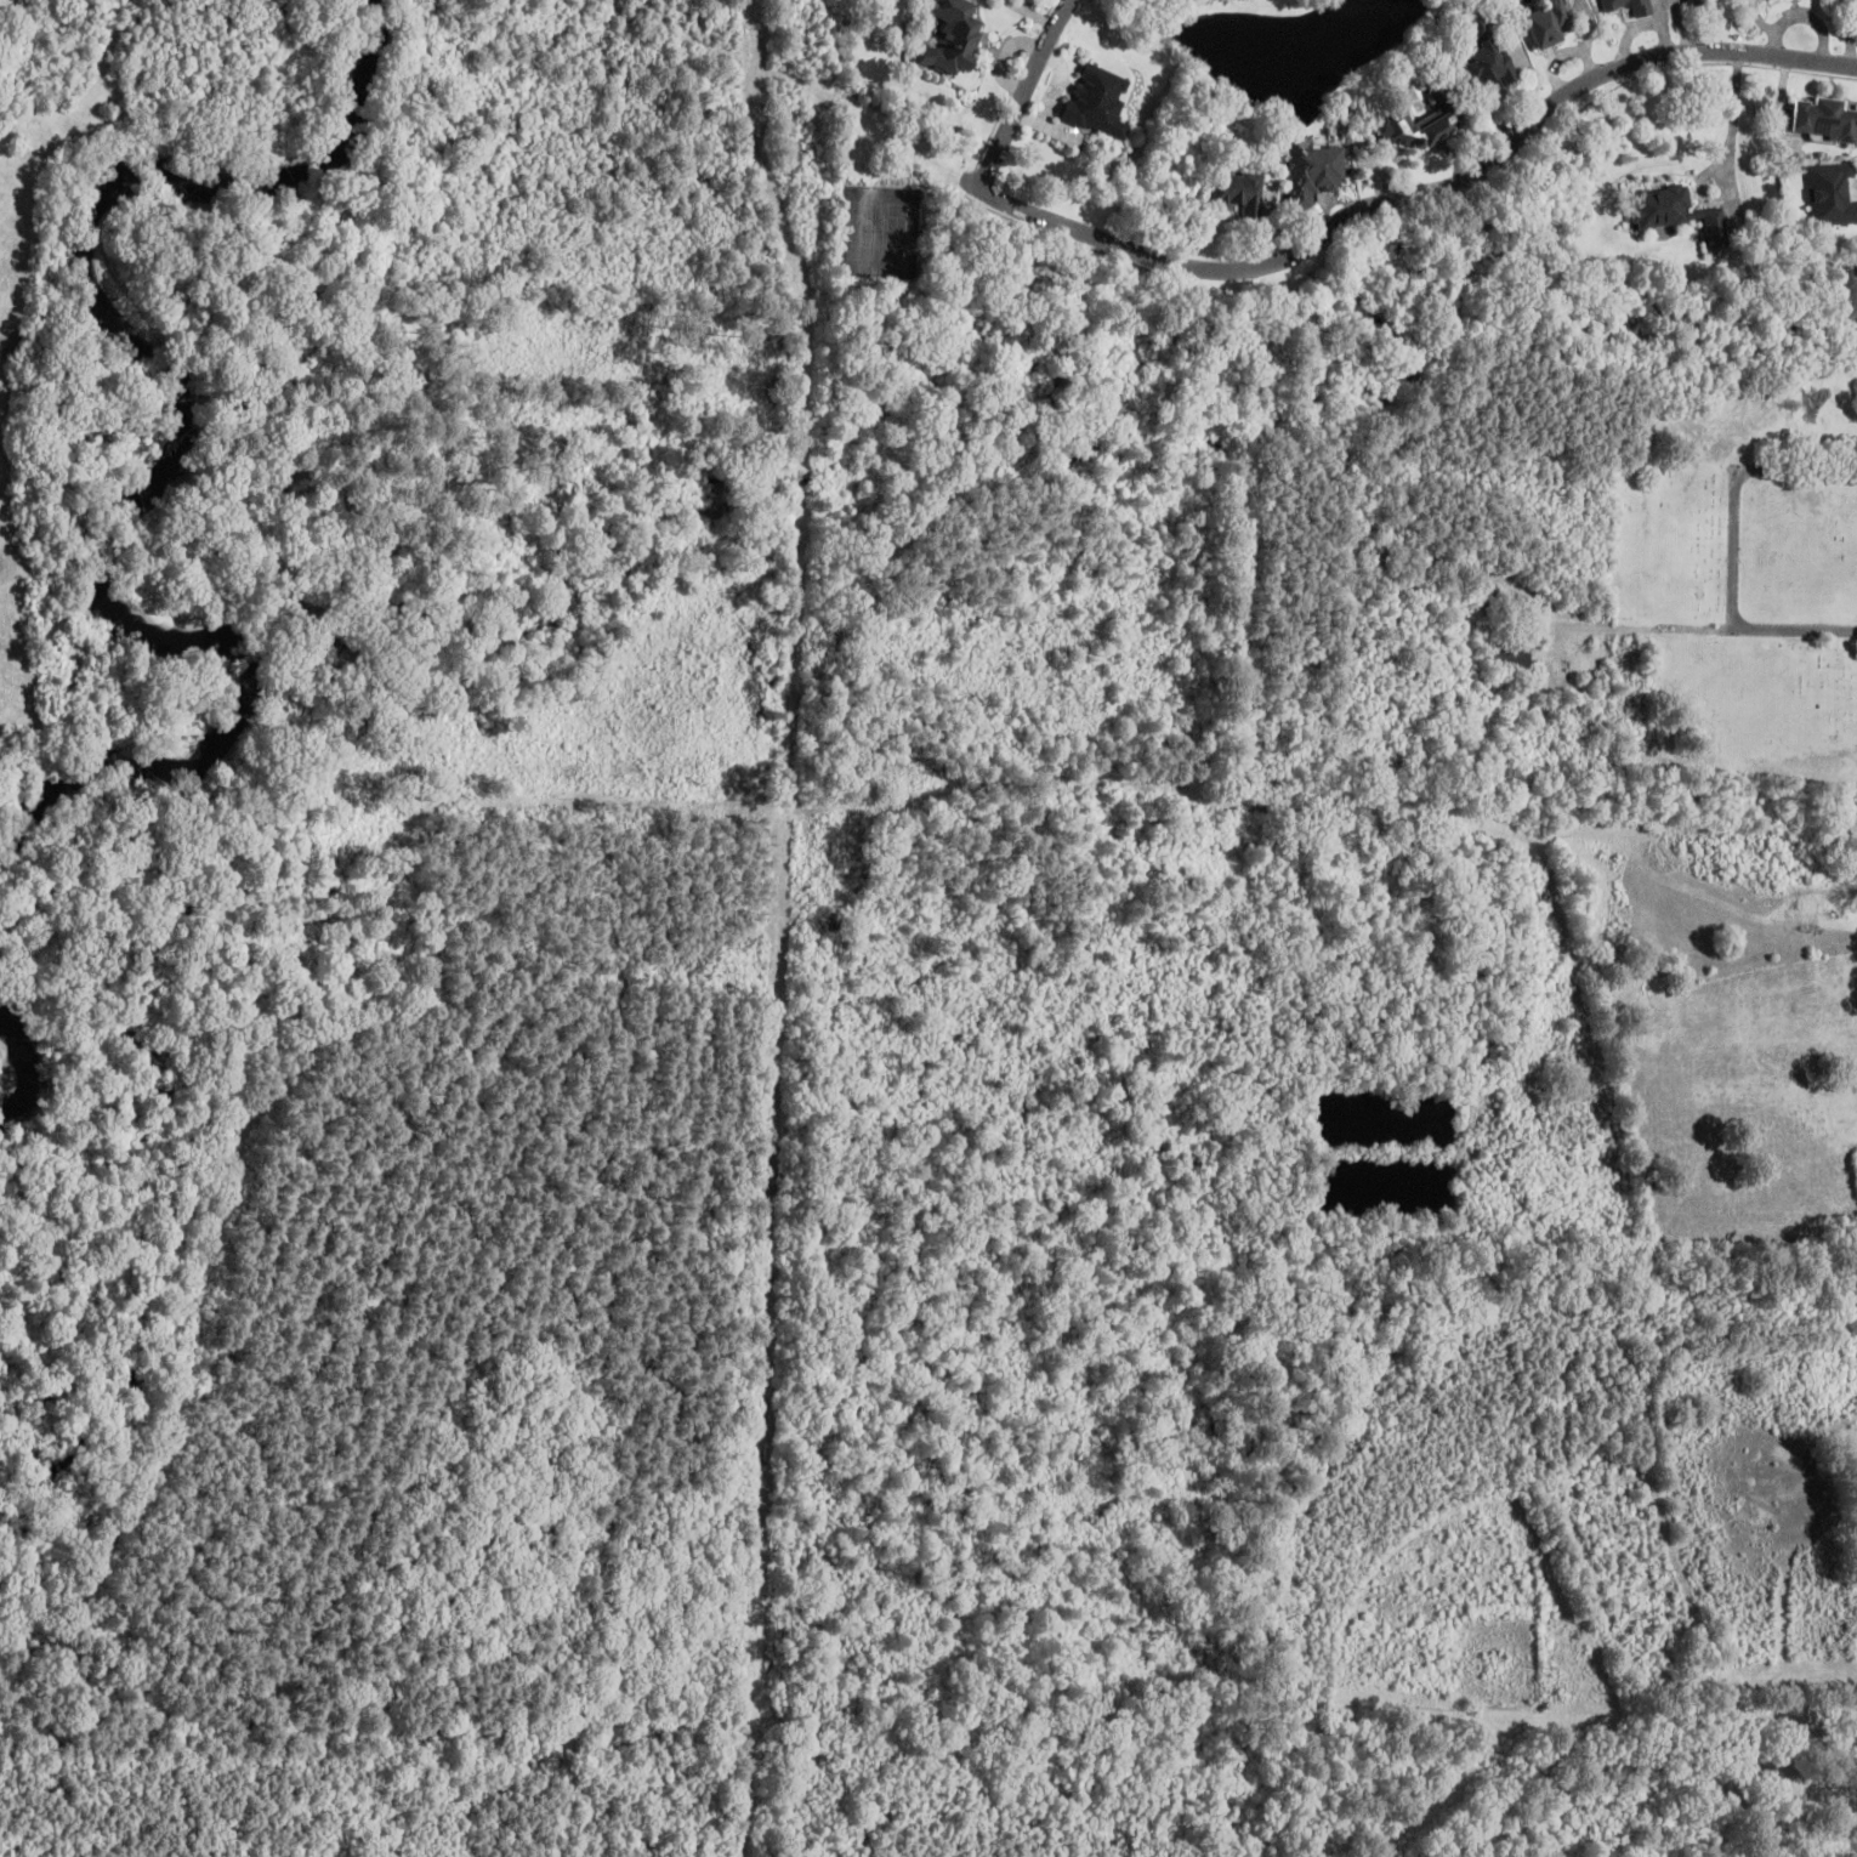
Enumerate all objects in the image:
building: (1697, 2)
building: (1629, 6)
building: (1549, 22)
building: (1480, 24)
building: (952, 36)
building: (1487, 63)
road: (1022, 91)
building: (1097, 101)
building: (1825, 120)
building: (1419, 125)
building: (1314, 171)
building: (1239, 193)
building: (1832, 194)
road: (1410, 198)
building: (1676, 212)
building: (1856, 245)
river: (191, 453)
building: (1509, 654)
river: (7, 1078)

